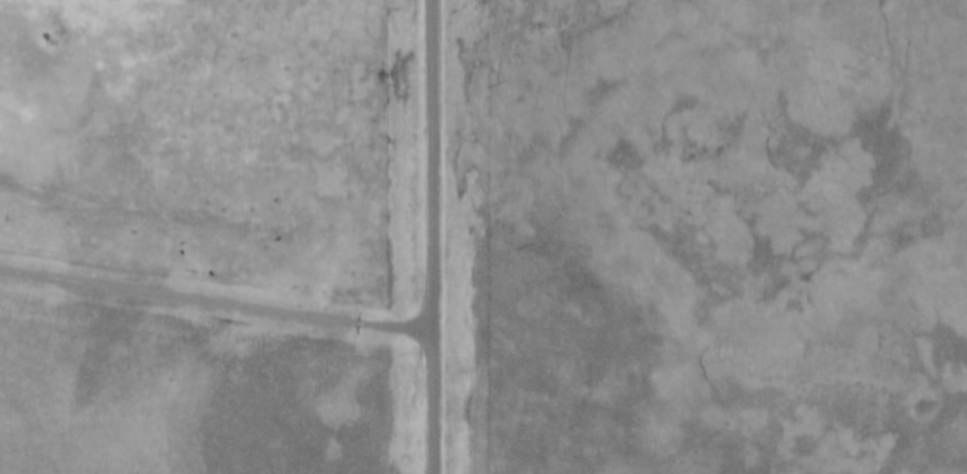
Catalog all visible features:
road: (431, 237)
road: (215, 302)

